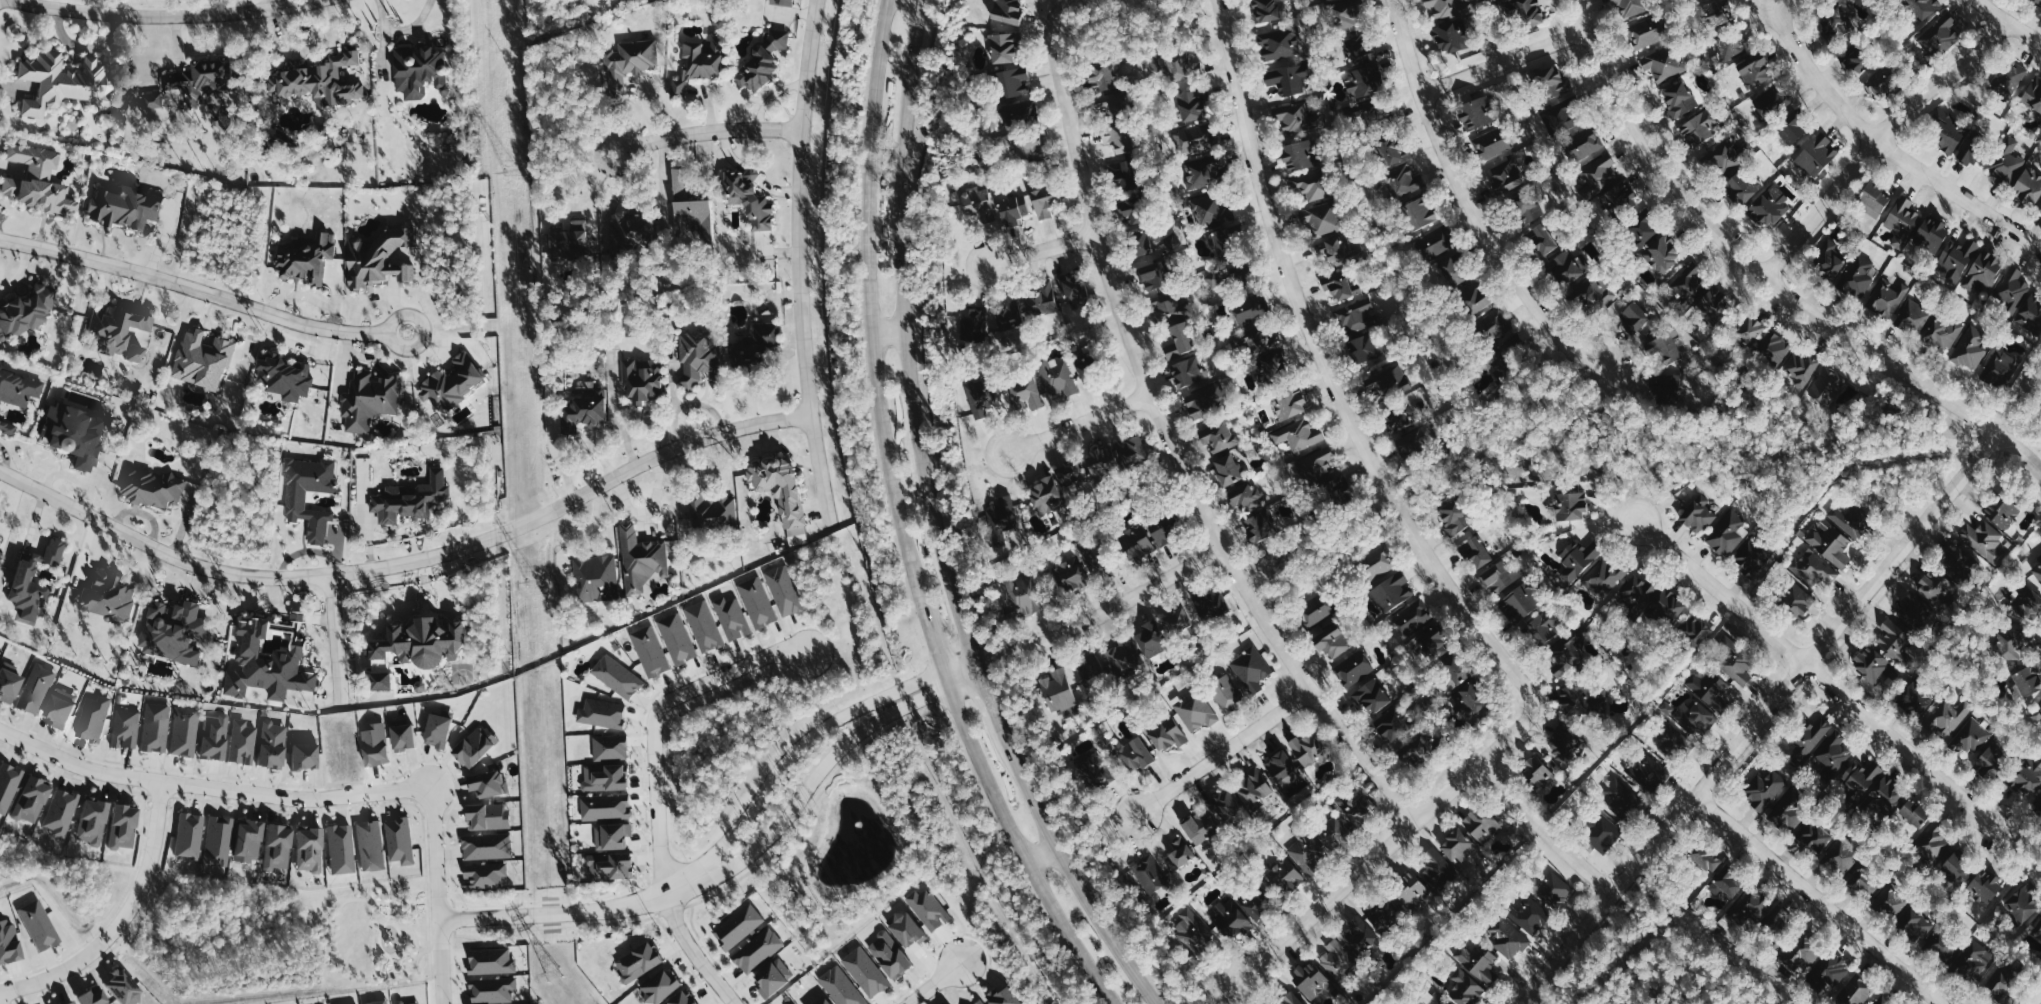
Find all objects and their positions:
building: (1320, 0)
road: (280, 2)
building: (779, 2)
building: (2037, 2)
building: (1445, 7)
building: (1630, 7)
building: (1923, 8)
building: (1269, 9)
building: (1006, 11)
building: (1528, 12)
building: (1716, 13)
road: (158, 14)
building: (1348, 16)
building: (1841, 17)
road: (2012, 20)
road: (411, 23)
building: (1644, 33)
building: (1941, 34)
road: (383, 35)
building: (1447, 38)
building: (776, 39)
building: (1280, 44)
building: (1729, 45)
building: (1002, 47)
road: (87, 48)
building: (1359, 52)
road: (1508, 59)
building: (628, 62)
building: (1852, 63)
building: (1660, 64)
building: (1180, 66)
building: (755, 68)
building: (429, 72)
building: (1754, 72)
building: (1098, 75)
building: (2009, 77)
building: (329, 80)
building: (1287, 80)
building: (1363, 81)
building: (1010, 82)
building: (1549, 82)
building: (66, 83)
building: (197, 83)
building: (1876, 84)
building: (2033, 94)
building: (1678, 98)
building: (1772, 100)
building: (1111, 103)
building: (1191, 105)
building: (1476, 112)
building: (1017, 114)
building: (1558, 117)
building: (1297, 118)
building: (1699, 128)
building: (1789, 129)
road: (707, 130)
building: (1943, 130)
road: (1881, 137)
building: (1116, 138)
building: (1193, 139)
road: (1888, 141)
building: (1490, 143)
building: (1583, 144)
building: (1025, 147)
building: (1389, 151)
building: (1298, 154)
building: (1968, 154)
building: (1815, 155)
building: (1723, 157)
building: (2003, 167)
building: (1200, 174)
building: (1598, 176)
building: (1506, 177)
building: (41, 181)
building: (1402, 181)
building: (2030, 182)
building: (1308, 185)
building: (681, 186)
building: (1739, 187)
power tower: (514, 189)
road: (596, 190)
building: (1125, 192)
building: (1878, 192)
building: (746, 196)
building: (1620, 197)
building: (974, 200)
building: (1042, 201)
road: (1475, 202)
building: (1767, 206)
building: (130, 208)
building: (1528, 208)
building: (1009, 210)
building: (2040, 210)
building: (1209, 211)
building: (1418, 213)
building: (695, 217)
building: (1320, 219)
building: (1902, 219)
building: (629, 231)
building: (1931, 235)
building: (1541, 239)
building: (570, 241)
road: (163, 242)
building: (1222, 242)
building: (1137, 243)
building: (1435, 243)
road: (1040, 247)
building: (1335, 250)
building: (1661, 253)
building: (1957, 257)
building: (384, 258)
building: (1828, 258)
road: (797, 263)
building: (1567, 267)
building: (1985, 267)
building: (1451, 272)
road: (1768, 275)
building: (1150, 276)
building: (1857, 277)
building: (1686, 283)
building: (1340, 288)
building: (2013, 291)
building: (1596, 296)
road: (202, 298)
building: (1474, 298)
building: (1888, 298)
building: (1040, 299)
building: (1713, 303)
building: (1248, 309)
building: (28, 315)
building: (1006, 316)
building: (1358, 316)
building: (1634, 316)
building: (1914, 318)
building: (974, 322)
building: (1750, 329)
building: (1500, 331)
building: (1942, 332)
road: (887, 333)
building: (129, 334)
building: (1177, 341)
building: (757, 348)
building: (1363, 348)
building: (1664, 348)
building: (1970, 348)
building: (1774, 349)
building: (1270, 355)
building: (696, 356)
building: (208, 359)
building: (1801, 367)
building: (2002, 370)
building: (1185, 373)
building: (1056, 375)
building: (284, 376)
building: (642, 379)
building: (459, 382)
building: (1386, 384)
building: (1827, 386)
building: (21, 388)
building: (1665, 389)
building: (1025, 393)
building: (979, 398)
building: (368, 399)
building: (1205, 401)
building: (1289, 402)
road: (1343, 409)
building: (583, 414)
road: (1077, 422)
building: (10, 426)
road: (1163, 433)
building: (1298, 435)
building: (84, 437)
building: (1219, 437)
building: (1130, 451)
building: (1316, 464)
building: (1086, 466)
road: (1628, 468)
building: (1225, 470)
building: (157, 487)
road: (1631, 492)
building: (780, 494)
building: (1044, 495)
building: (1242, 495)
building: (300, 500)
building: (413, 501)
building: (1568, 506)
building: (2002, 510)
building: (711, 513)
building: (1698, 514)
building: (1002, 515)
building: (1453, 517)
building: (1849, 521)
road: (900, 524)
road: (933, 526)
building: (1256, 527)
building: (1160, 531)
building: (1727, 534)
building: (1984, 541)
building: (1135, 542)
building: (1829, 543)
building: (1477, 552)
building: (1577, 559)
building: (1753, 559)
building: (640, 560)
road: (407, 562)
building: (1376, 563)
building: (1956, 563)
building: (1814, 569)
building: (2037, 572)
building: (1069, 574)
building: (1606, 575)
building: (1499, 576)
building: (594, 578)
power tower: (534, 581)
building: (38, 582)
building: (1933, 588)
building: (784, 591)
building: (1392, 591)
building: (1636, 594)
building: (1023, 595)
building: (107, 596)
building: (1795, 599)
building: (757, 602)
building: (1519, 603)
building: (2026, 604)
building: (1209, 606)
building: (1667, 607)
building: (1914, 608)
road: (1100, 612)
building: (1313, 612)
building: (731, 618)
building: (1413, 618)
building: (1175, 621)
building: (704, 626)
building: (1543, 628)
building: (181, 631)
building: (1692, 631)
building: (677, 638)
road: (334, 639)
building: (1148, 639)
building: (432, 642)
building: (1896, 643)
building: (1332, 644)
building: (1432, 644)
building: (2013, 644)
building: (650, 651)
building: (1566, 656)
building: (1123, 657)
building: (275, 661)
building: (1, 662)
building: (1734, 663)
building: (1871, 664)
building: (1353, 668)
building: (1250, 669)
building: (1090, 671)
building: (1453, 671)
road: (1816, 673)
building: (616, 676)
building: (394, 681)
building: (2025, 682)
building: (12, 683)
building: (40, 688)
building: (1711, 690)
building: (1058, 691)
building: (1224, 691)
building: (1371, 696)
building: (1915, 699)
building: (1468, 700)
building: (1581, 701)
building: (66, 707)
building: (1195, 711)
building: (601, 713)
building: (2037, 714)
building: (97, 717)
road: (1756, 717)
building: (1694, 718)
building: (1949, 718)
building: (159, 727)
building: (129, 728)
building: (1390, 728)
building: (445, 729)
building: (188, 731)
building: (410, 735)
building: (1166, 735)
building: (218, 736)
building: (1564, 738)
building: (1670, 738)
building: (1807, 738)
building: (1971, 738)
road: (803, 741)
building: (246, 742)
building: (381, 742)
building: (277, 744)
building: (480, 747)
building: (608, 748)
road: (1221, 748)
building: (1307, 748)
building: (1413, 750)
building: (1132, 753)
building: (0, 756)
building: (310, 756)
building: (1844, 764)
building: (1990, 764)
road: (819, 768)
building: (1281, 769)
building: (1094, 772)
building: (1648, 774)
building: (1540, 777)
building: (2024, 781)
building: (493, 783)
building: (10, 785)
road: (655, 786)
road: (211, 788)
building: (1251, 788)
building: (1764, 790)
road: (1444, 792)
building: (1884, 794)
building: (36, 799)
building: (1623, 799)
building: (1222, 806)
building: (604, 807)
building: (1355, 808)
building: (64, 812)
building: (1788, 813)
building: (1913, 813)
building: (493, 815)
fountain: (857, 819)
building: (98, 821)
building: (129, 825)
building: (1480, 825)
building: (1195, 828)
road: (1542, 828)
building: (1601, 831)
building: (193, 835)
building: (611, 836)
building: (1813, 836)
building: (405, 839)
building: (222, 840)
building: (254, 841)
building: (1318, 844)
building: (283, 845)
building: (375, 845)
building: (492, 845)
building: (1457, 846)
building: (314, 849)
building: (345, 849)
road: (434, 853)
building: (1179, 853)
road: (1040, 856)
building: (1841, 858)
building: (1708, 859)
building: (610, 867)
building: (1437, 867)
building: (1956, 870)
building: (489, 874)
building: (1149, 875)
building: (1285, 876)
building: (1861, 885)
building: (1727, 886)
building: (1984, 887)
building: (1554, 888)
building: (1408, 890)
road: (1821, 896)
road: (1327, 897)
building: (1891, 902)
building: (2022, 903)
building: (1754, 906)
building: (927, 908)
road: (560, 912)
building: (1238, 914)
building: (1384, 914)
building: (1530, 914)
road: (122, 920)
building: (43, 925)
building: (737, 925)
building: (1915, 926)
building: (905, 928)
building: (1193, 930)
park: (367, 932)
building: (1361, 932)
building: (2036, 936)
building: (1508, 937)
road: (377, 939)
building: (12, 942)
road: (326, 944)
building: (1941, 948)
building: (757, 949)
building: (888, 954)
building: (1801, 954)
building: (1337, 959)
building: (638, 960)
building: (1972, 960)
building: (496, 961)
road: (439, 962)
building: (1477, 962)
building: (864, 971)
building: (1828, 972)
power tower: (554, 974)
road: (372, 976)
building: (771, 976)
building: (1310, 980)
building: (1996, 980)
road: (933, 983)
building: (129, 986)
building: (657, 986)
building: (840, 986)
building: (1465, 988)
building: (497, 989)
building: (1856, 991)
building: (1002, 996)
building: (99, 997)
building: (1429, 997)
building: (683, 998)
building: (1290, 999)
building: (822, 1001)
building: (76, 1002)
building: (383, 1002)
building: (413, 1002)
building: (978, 1002)
building: (1886, 1002)
building: (363, 1003)
building: (793, 1003)

